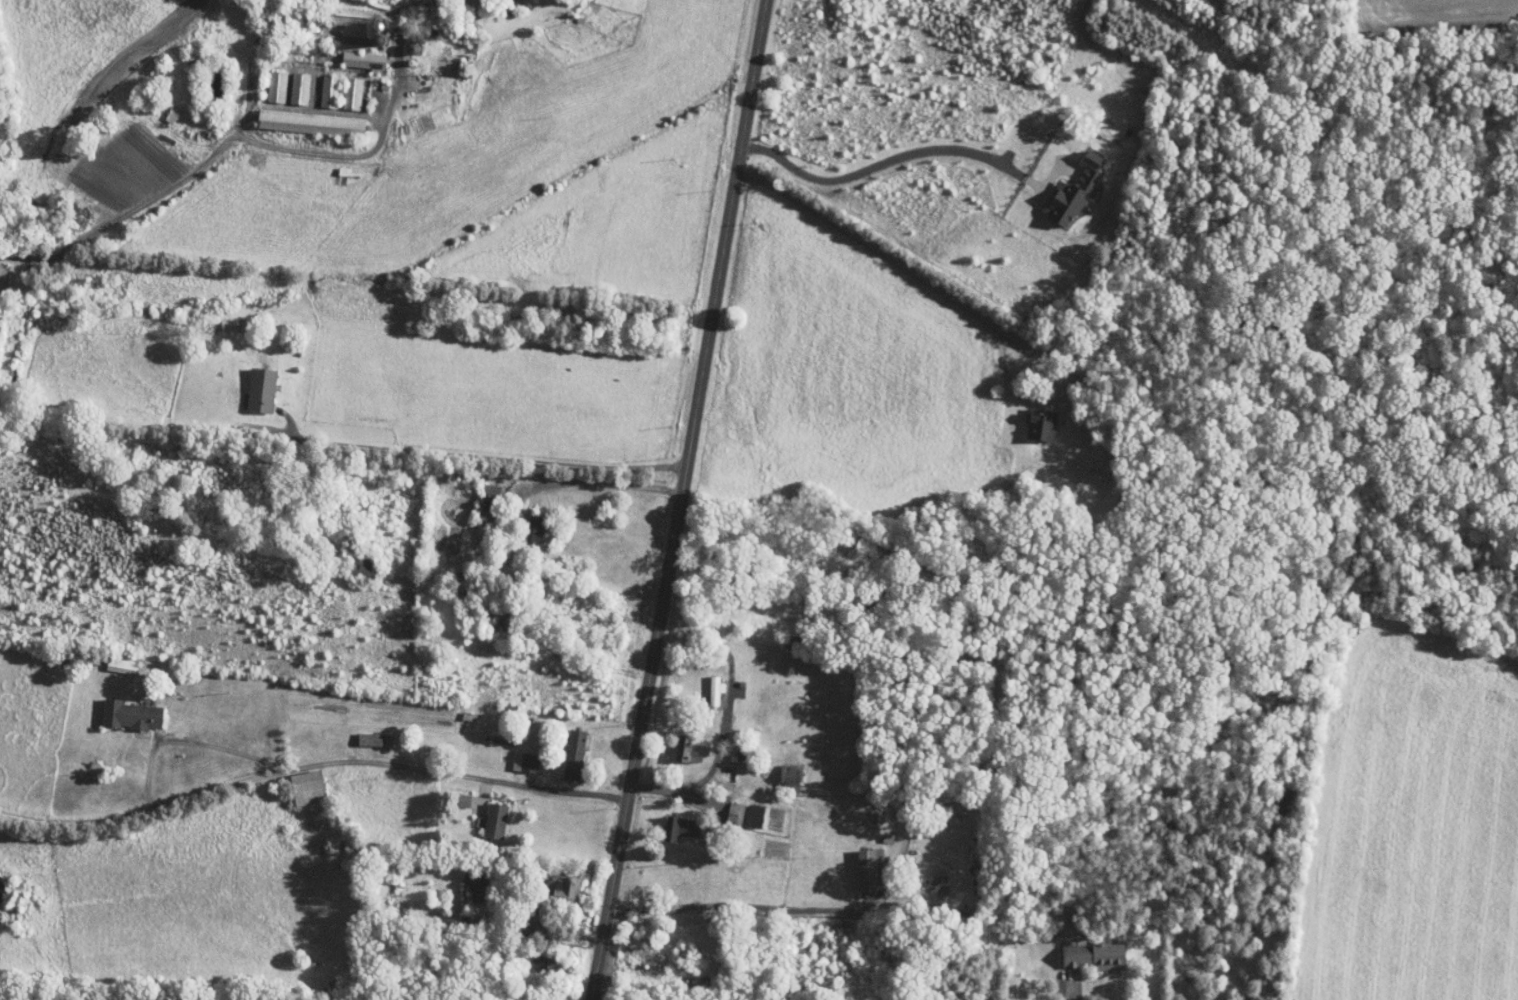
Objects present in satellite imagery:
building: (353, 54)
road: (396, 71)
building: (265, 79)
building: (288, 81)
building: (318, 84)
building: (341, 87)
building: (300, 116)
road: (908, 154)
building: (1063, 185)
road: (964, 304)
road: (712, 328)
building: (250, 383)
building: (1030, 419)
road: (484, 454)
road: (612, 489)
building: (477, 495)
building: (520, 522)
road: (698, 561)
road: (688, 614)
road: (576, 651)
building: (704, 681)
road: (727, 720)
building: (364, 731)
building: (680, 741)
road: (220, 743)
building: (563, 747)
building: (513, 754)
building: (779, 768)
road: (451, 773)
road: (603, 776)
building: (297, 780)
road: (499, 801)
building: (724, 806)
building: (744, 808)
building: (484, 813)
building: (668, 820)
road: (653, 825)
road: (622, 828)
building: (856, 862)
building: (553, 879)
road: (586, 893)
road: (739, 905)
road: (627, 946)
building: (1083, 949)
building: (532, 958)
road: (574, 963)
road: (1078, 979)

